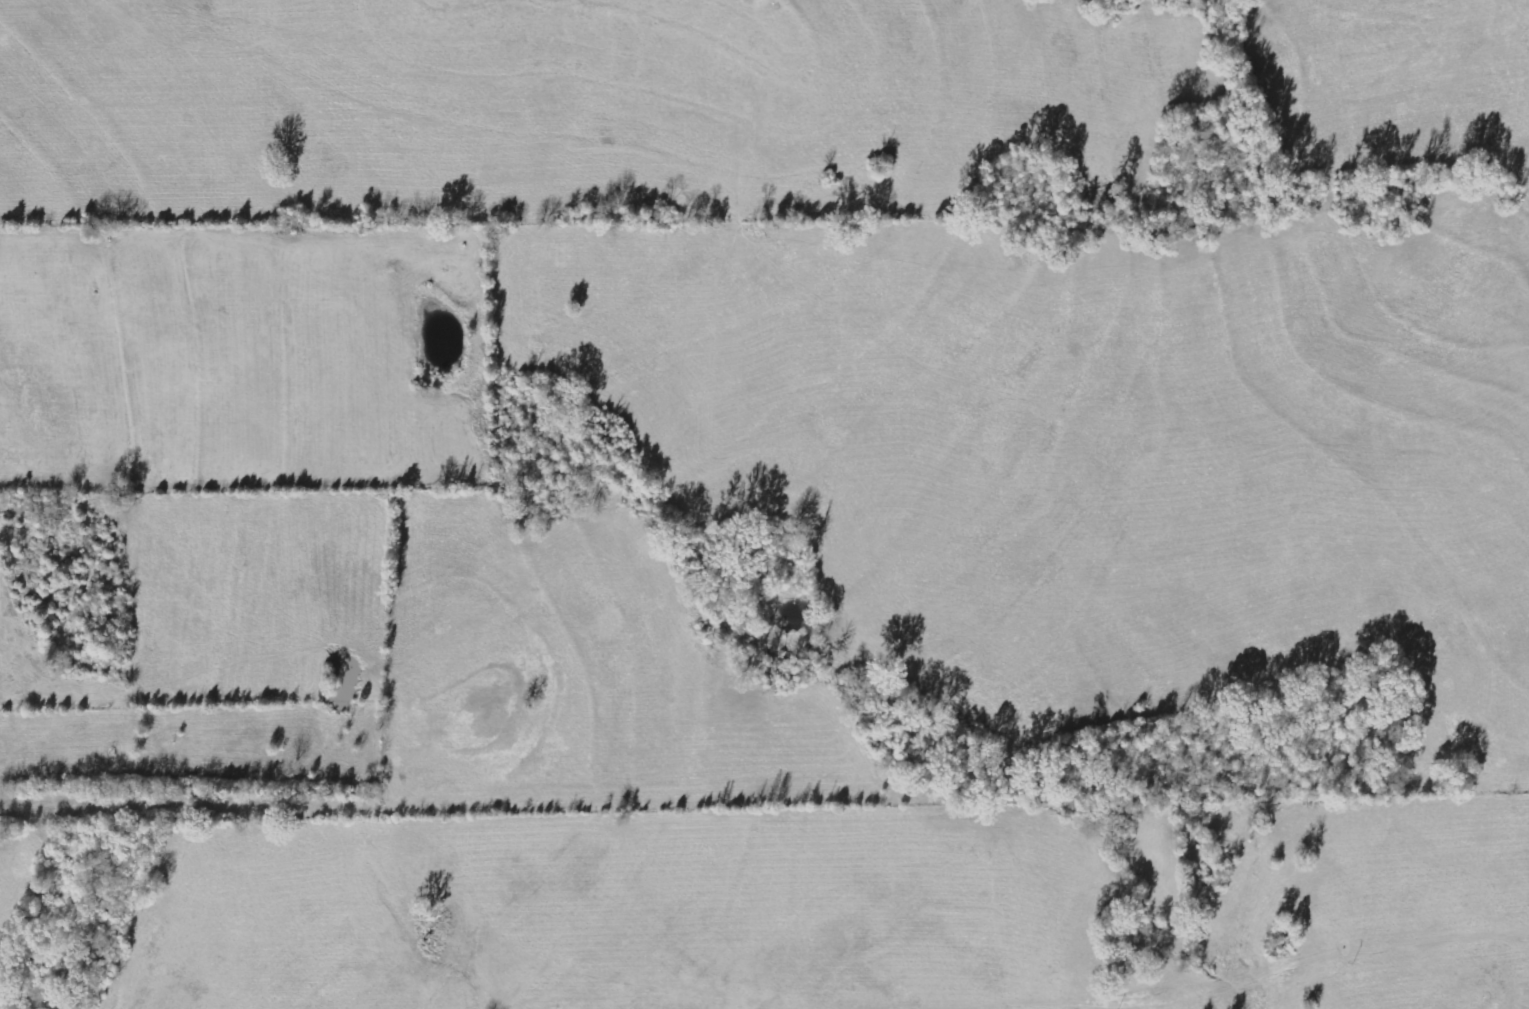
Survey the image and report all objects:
road: (49, 448)

